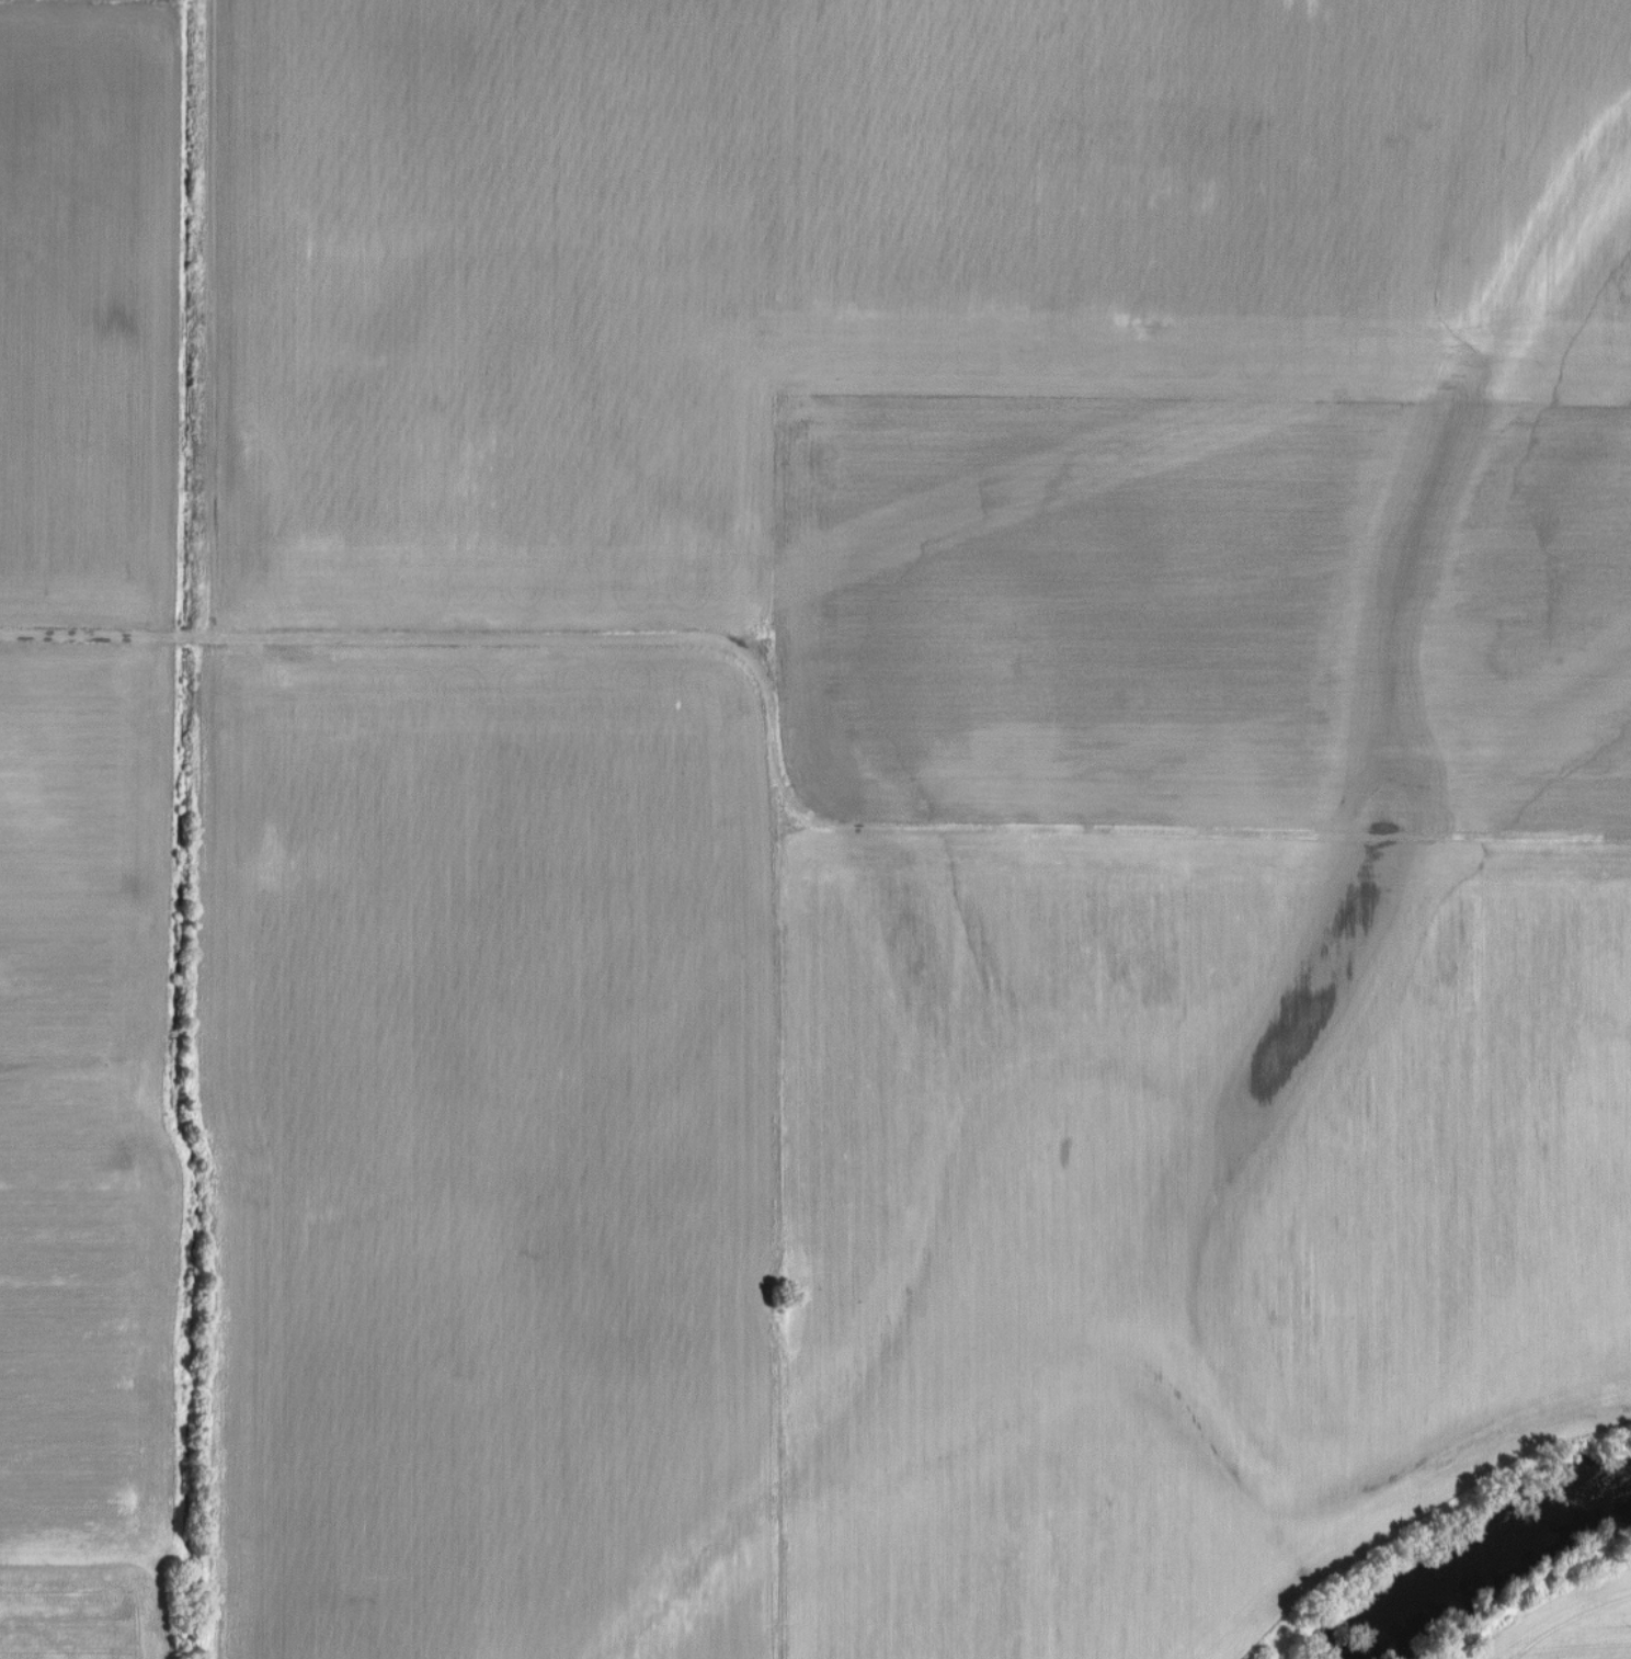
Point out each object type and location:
river: (1483, 1558)

